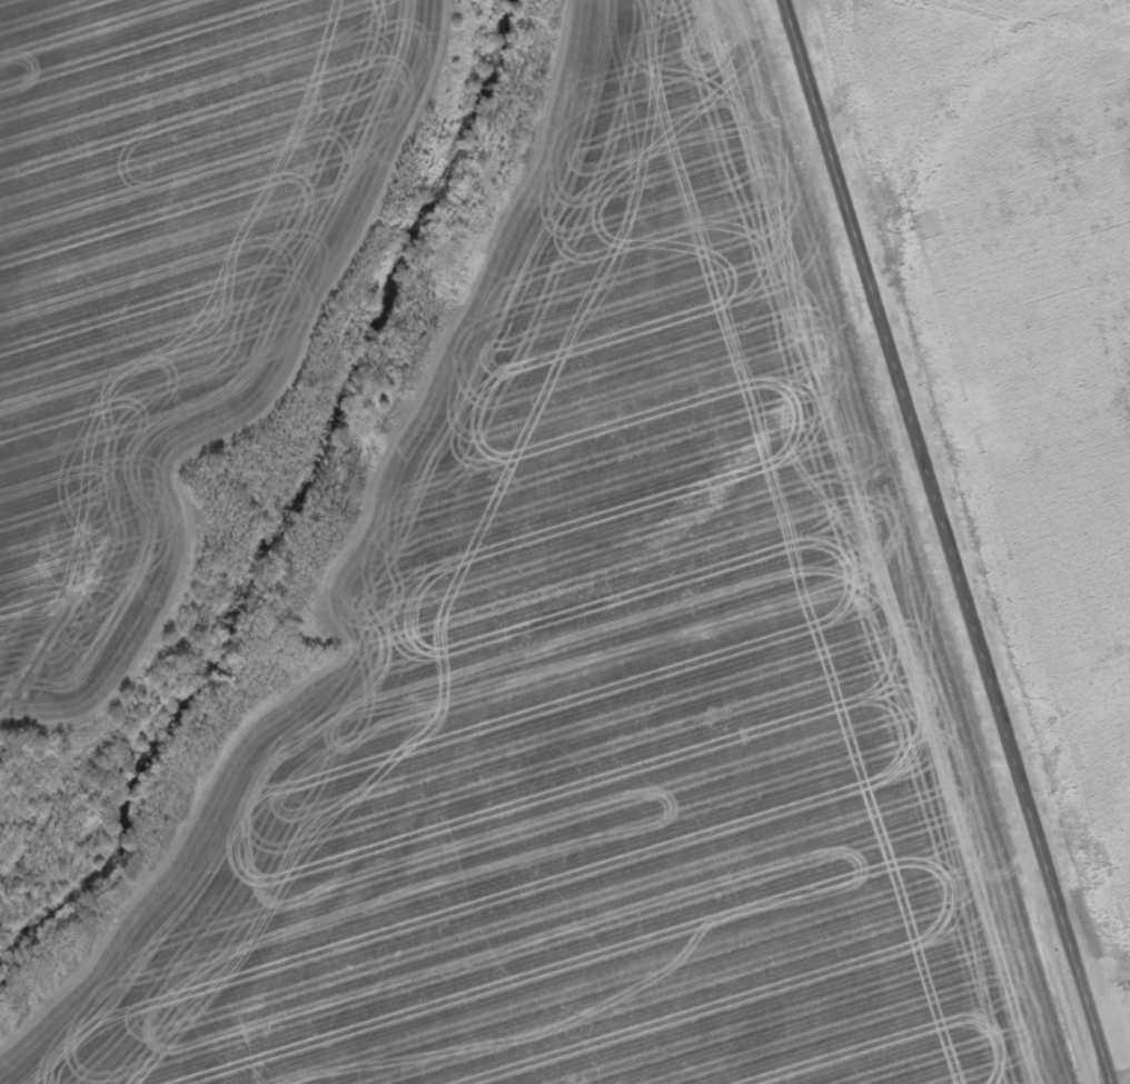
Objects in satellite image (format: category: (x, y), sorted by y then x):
road: (953, 541)

